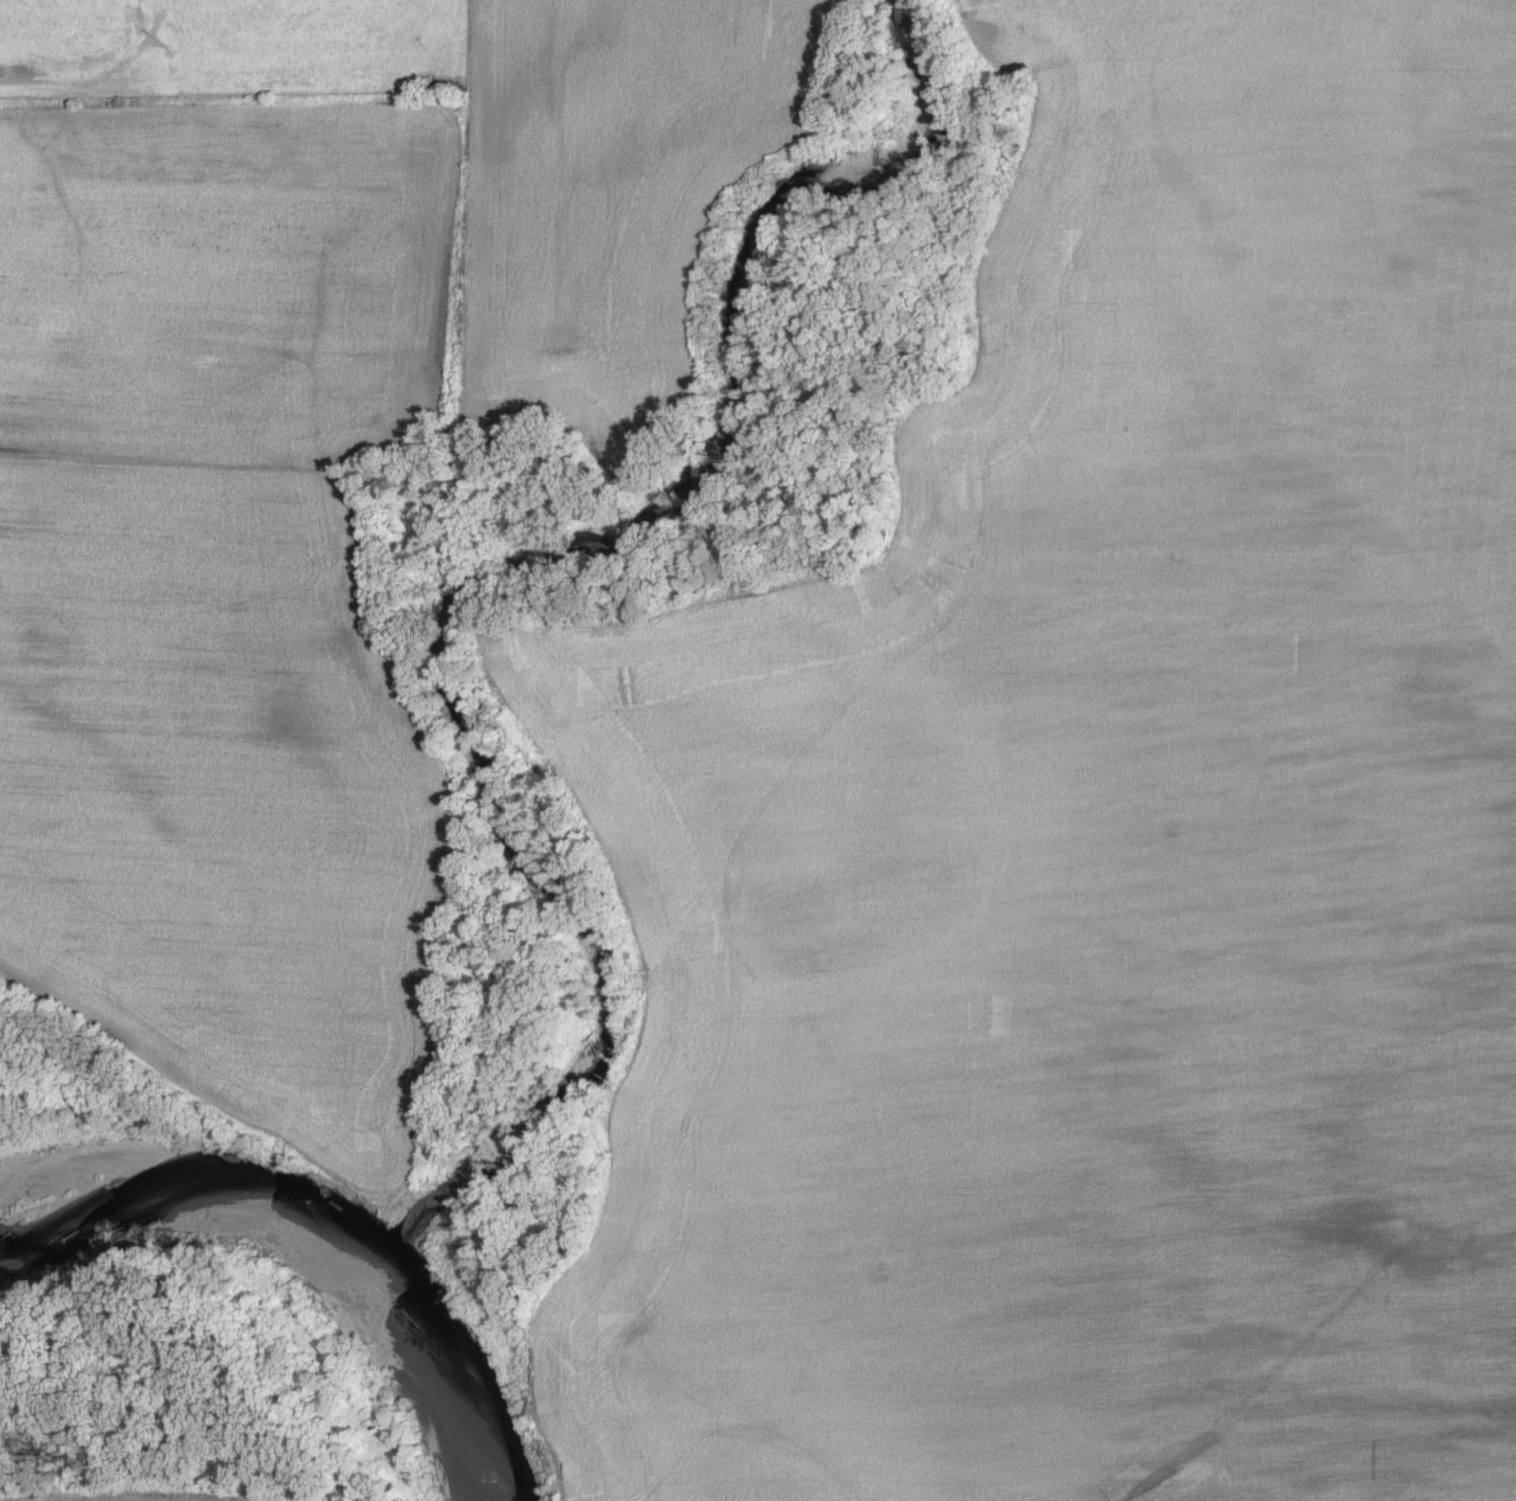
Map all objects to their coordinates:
river: (311, 1228)

